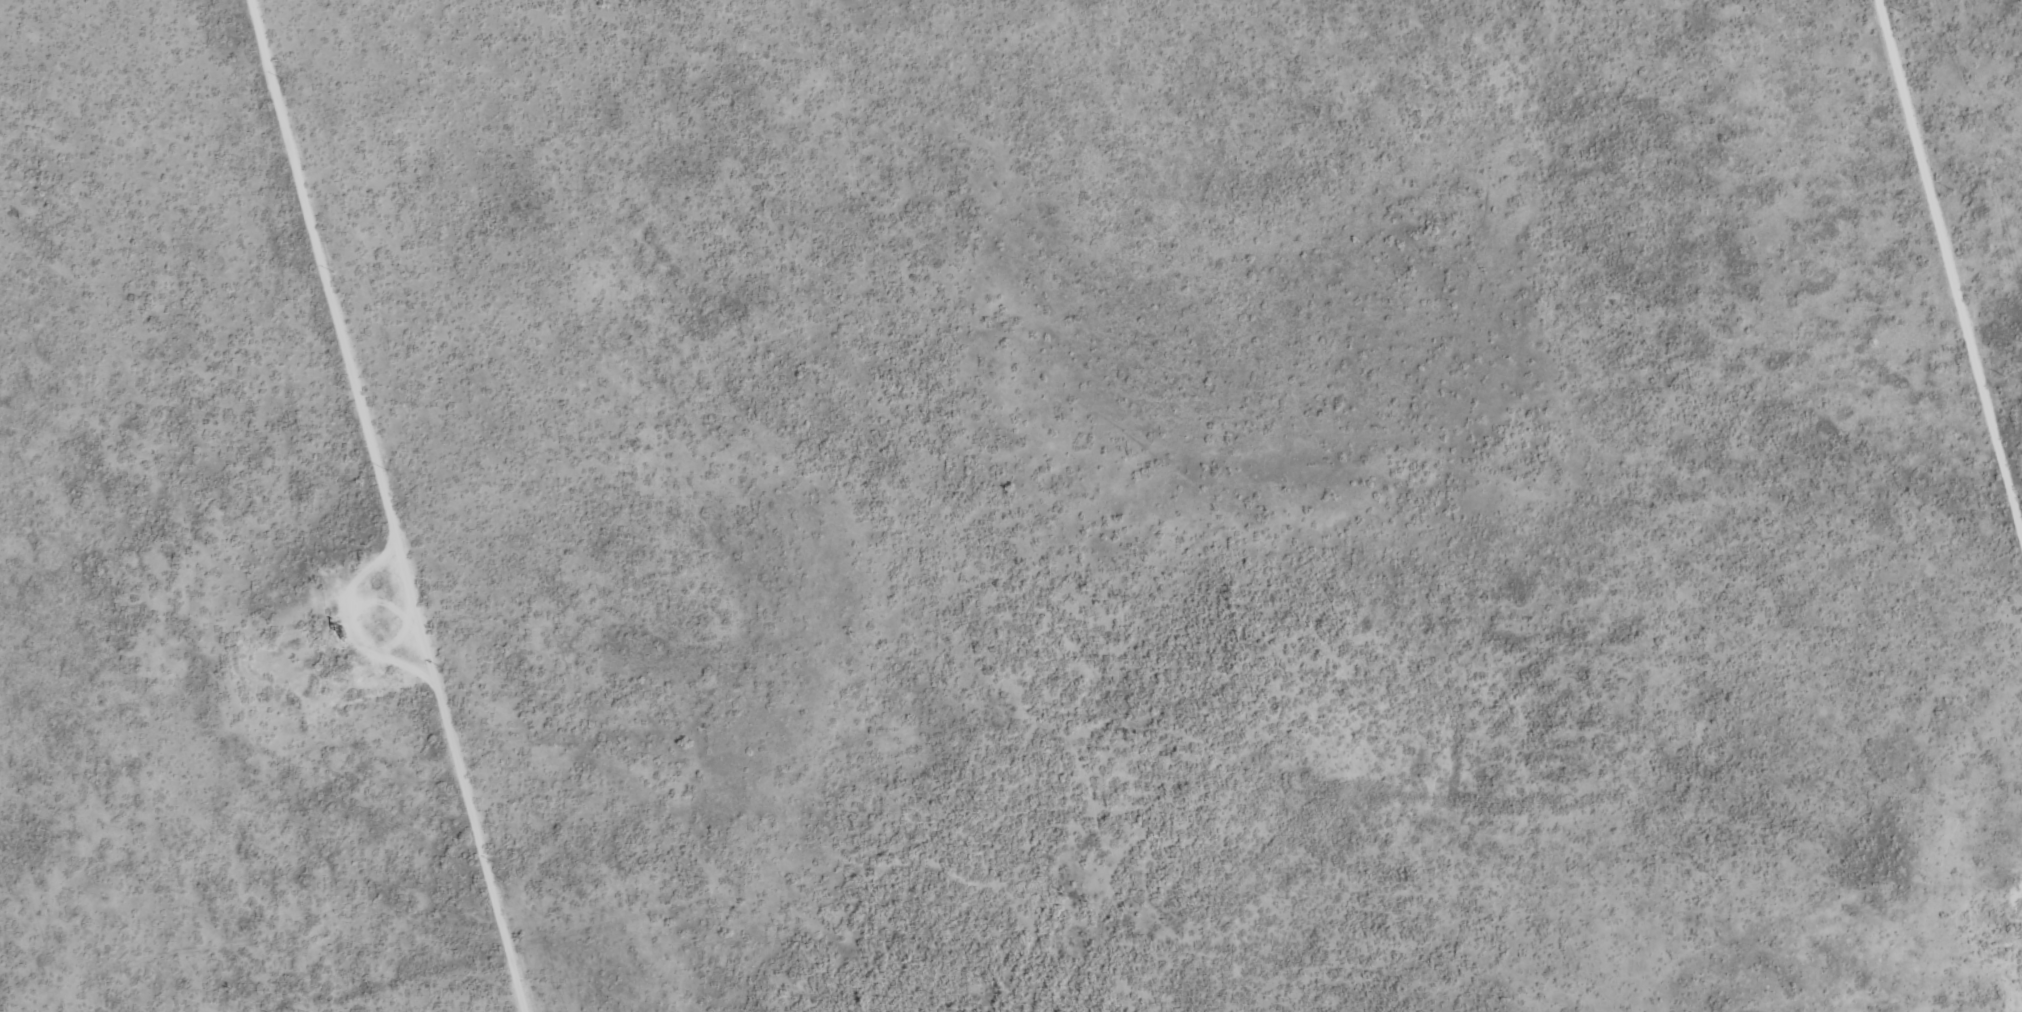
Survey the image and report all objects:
road: (383, 506)

